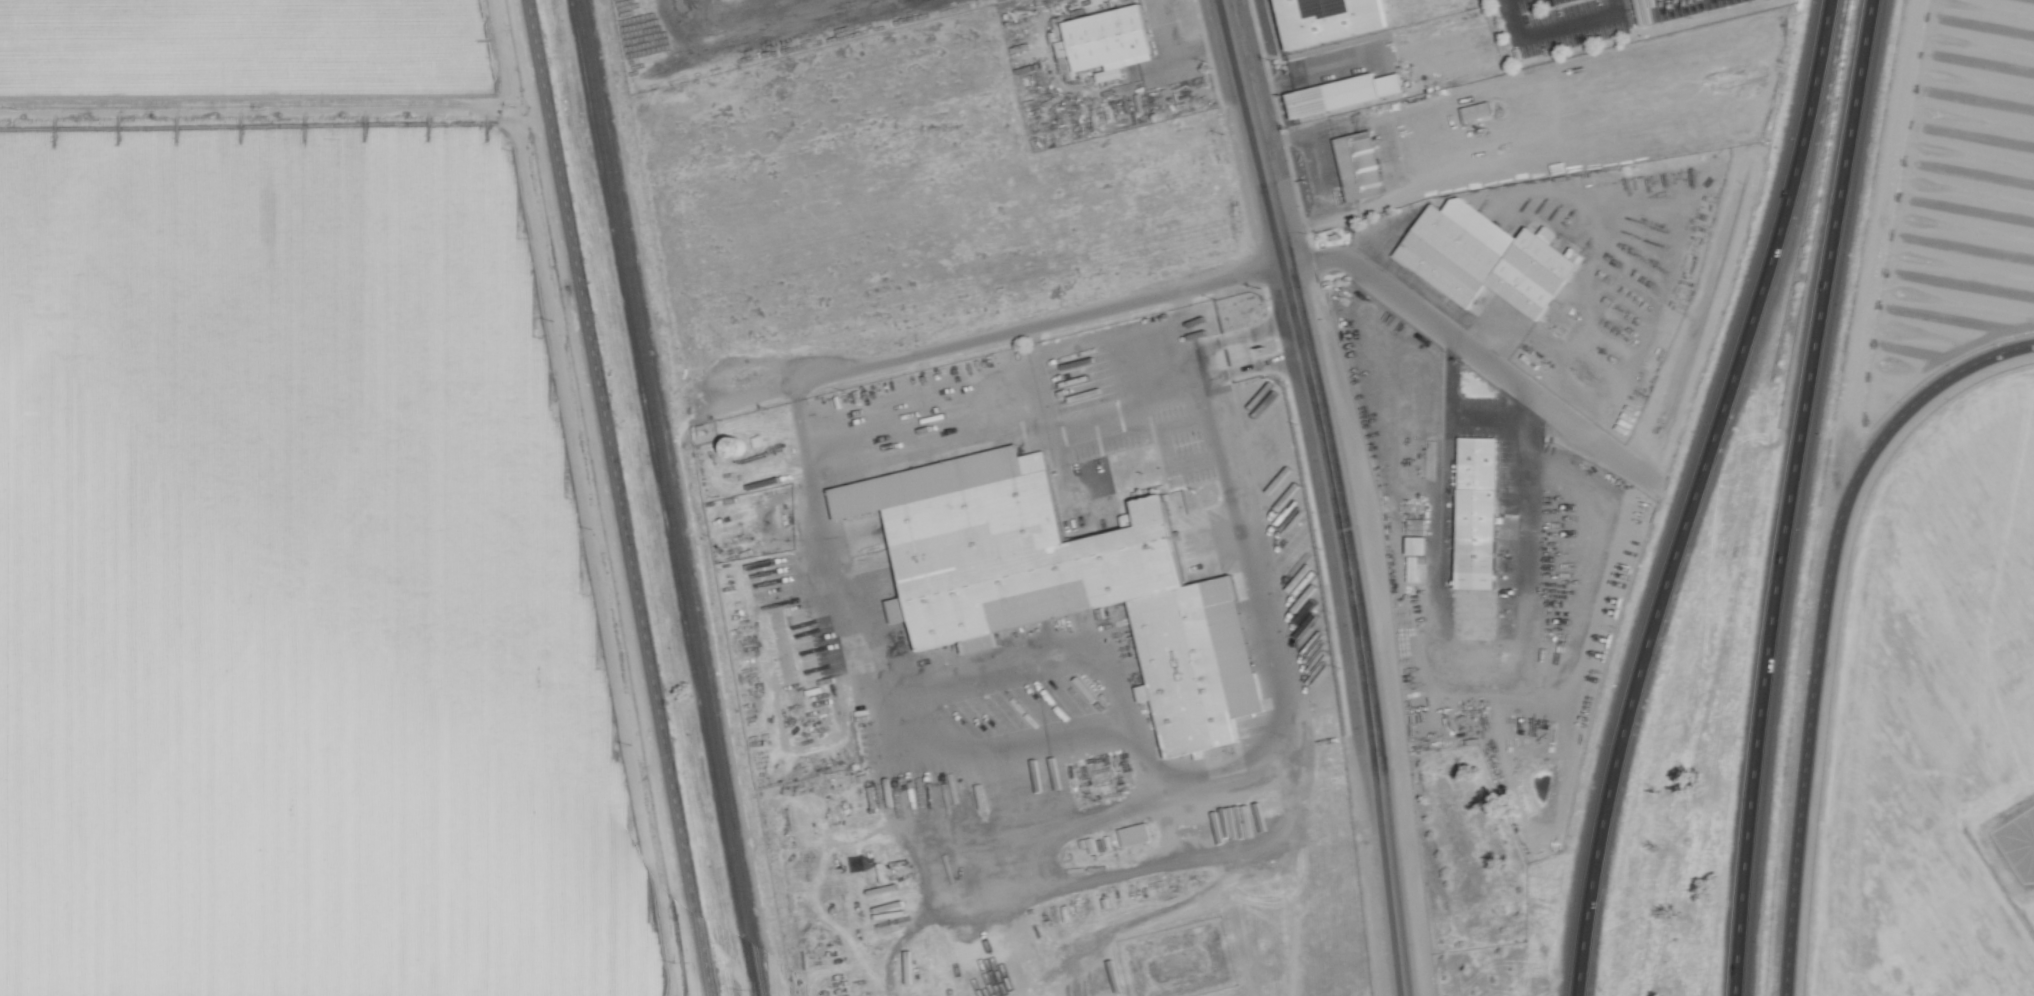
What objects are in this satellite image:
building: (1273, 0)
building: (1639, 12)
road: (1553, 30)
building: (1099, 41)
road: (1171, 55)
road: (1318, 70)
building: (1337, 93)
building: (1471, 110)
road: (1254, 130)
building: (1355, 165)
road: (1320, 173)
building: (1544, 269)
road: (1008, 331)
road: (1292, 340)
road: (1476, 352)
road: (1238, 354)
road: (1457, 418)
building: (1467, 466)
road: (1691, 495)
road: (1789, 496)
road: (617, 498)
railway: (668, 498)
building: (1411, 545)
road: (1436, 588)
building: (1174, 600)
road: (1821, 619)
road: (1357, 626)
road: (1544, 676)
airport: (1936, 717)
road: (945, 755)
building: (1135, 833)

